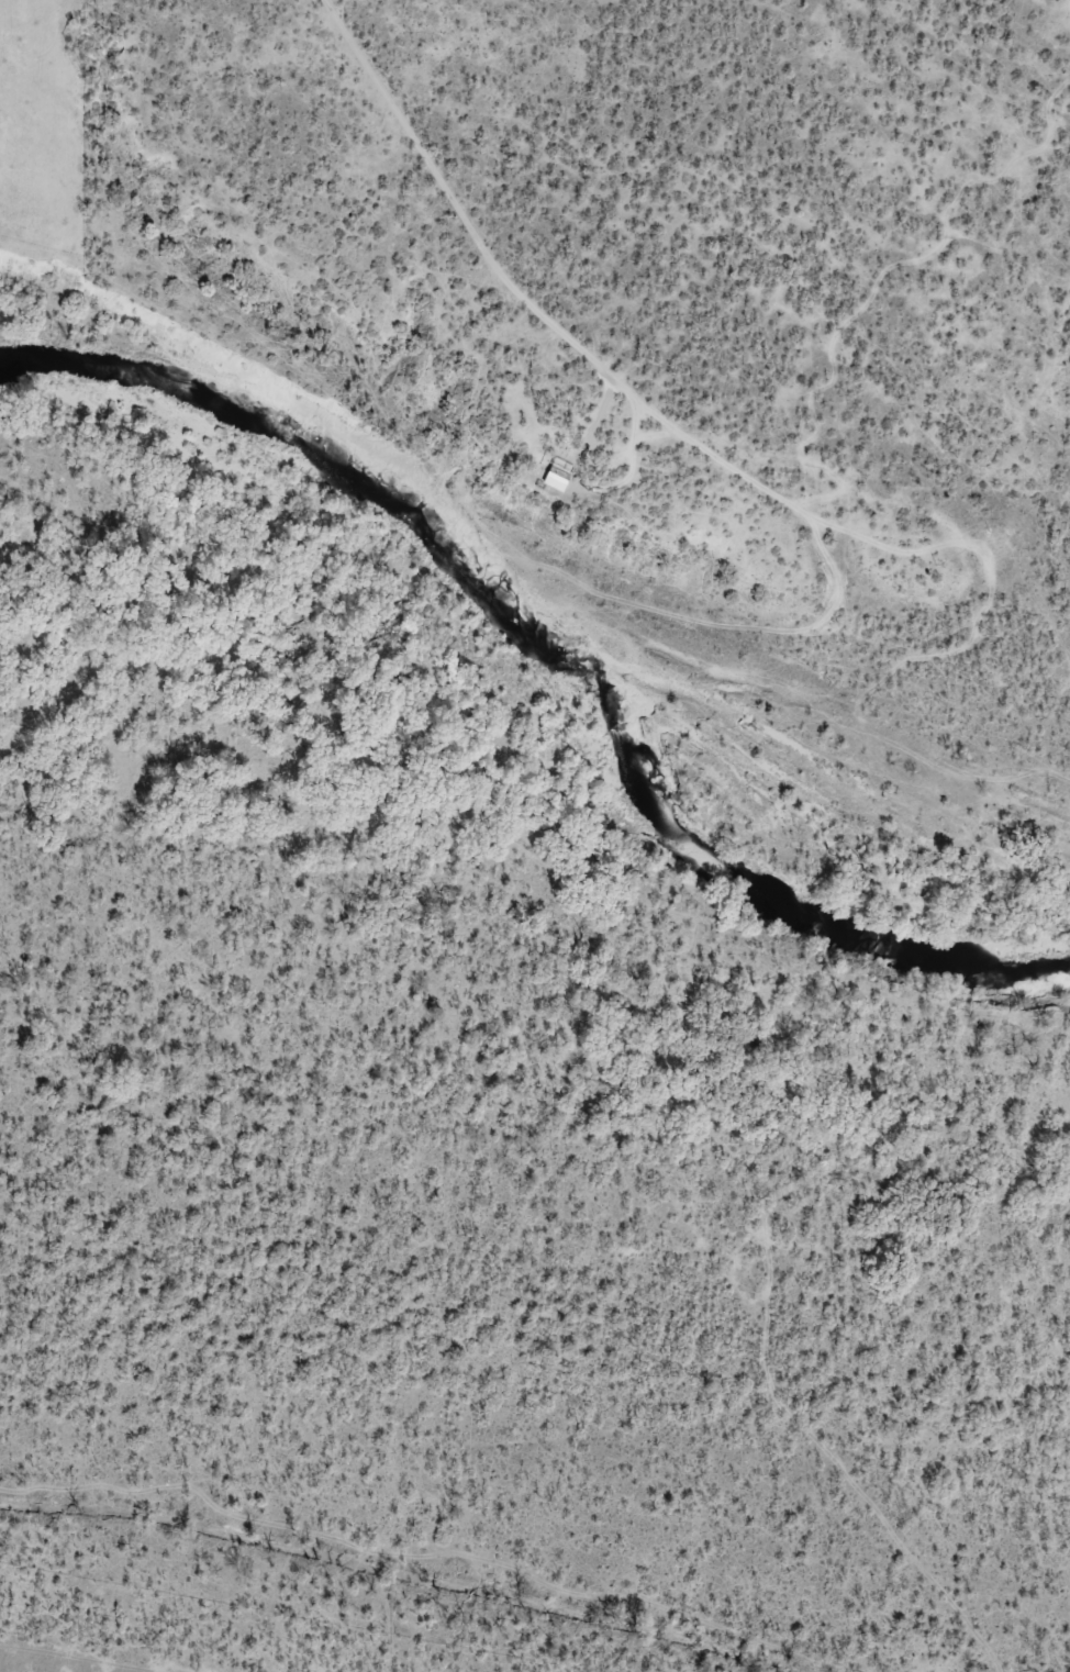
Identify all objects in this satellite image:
road: (716, 431)
building: (551, 477)
river: (528, 682)
road: (847, 1420)

